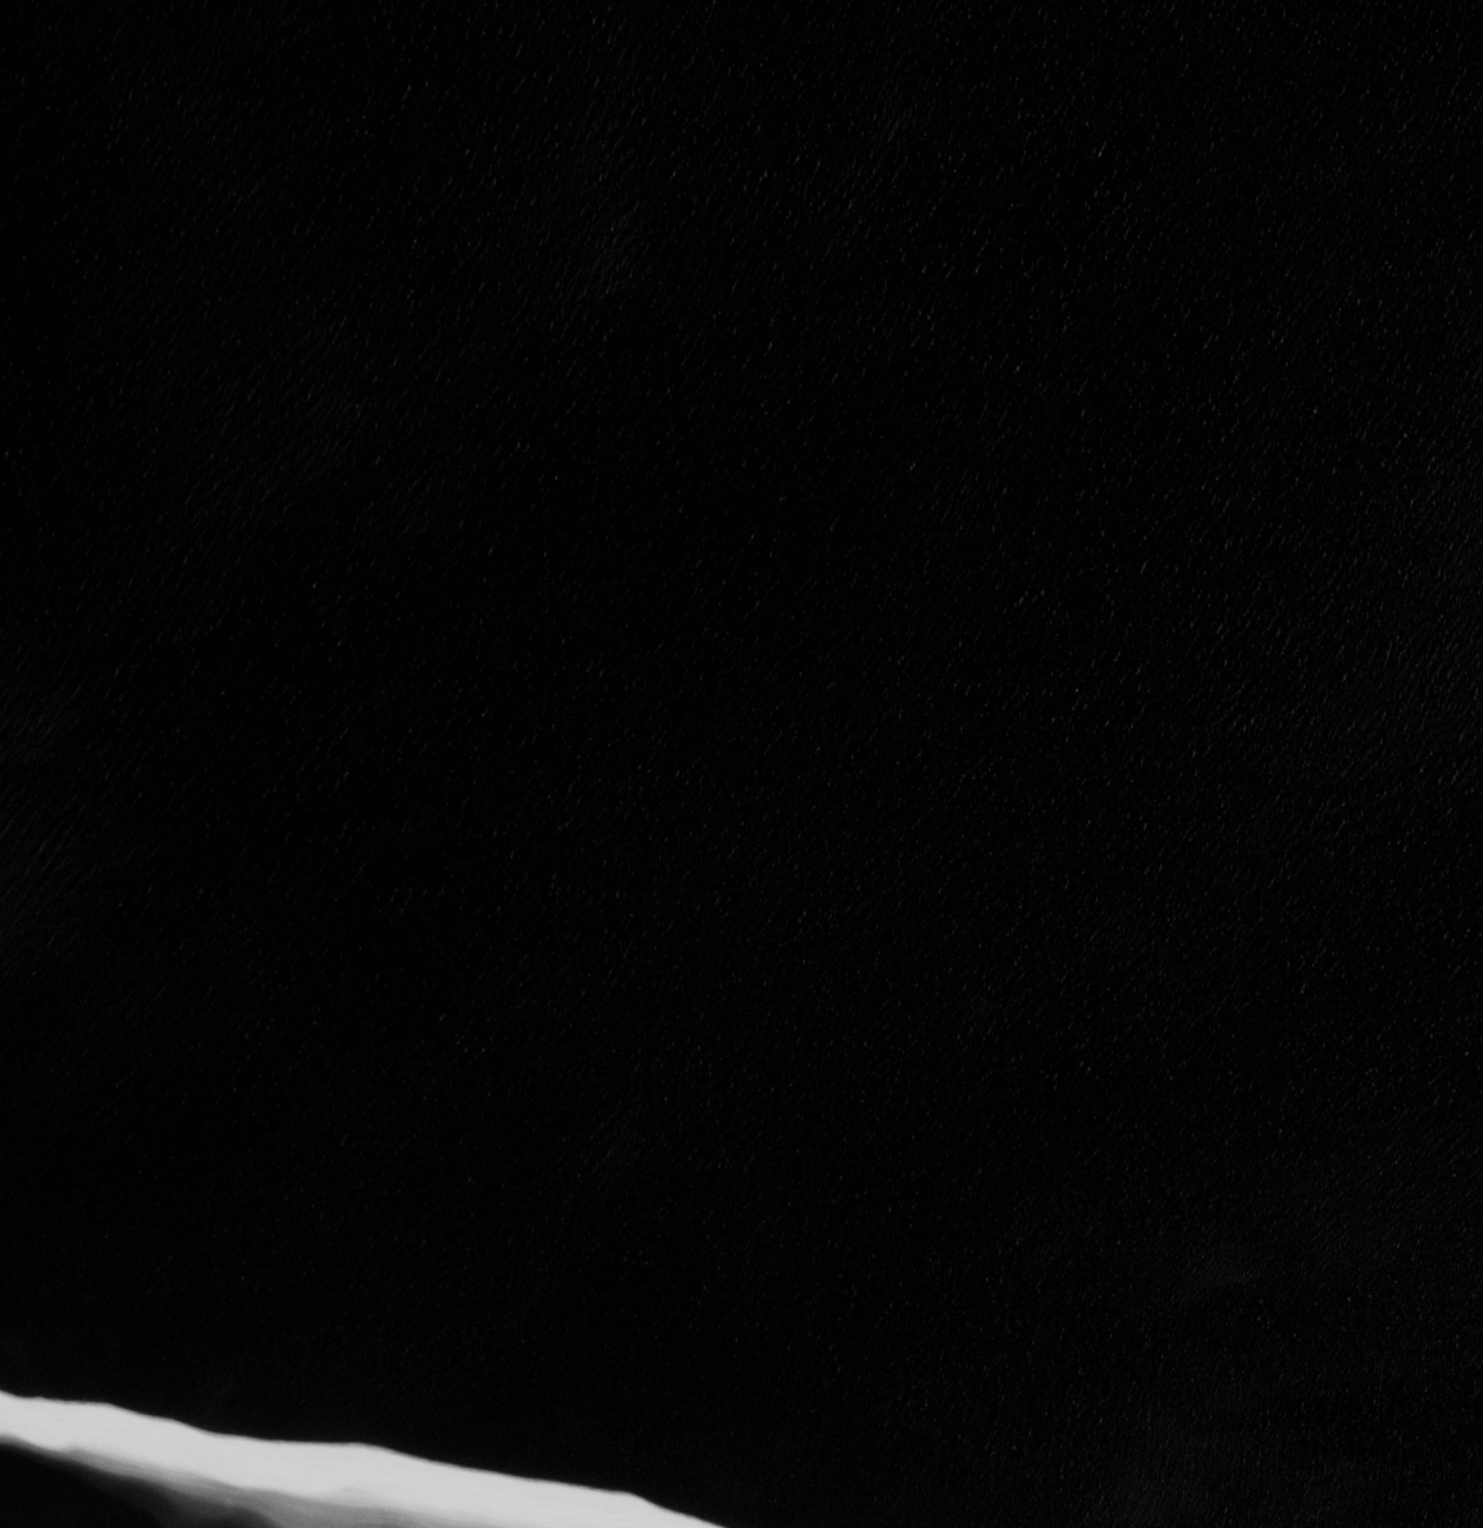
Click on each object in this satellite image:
building: (243, 1463)
pier: (228, 1493)

